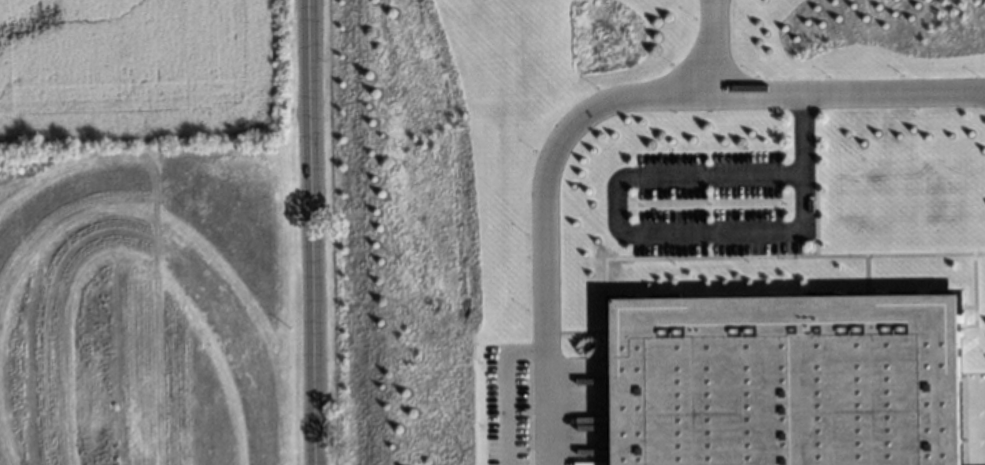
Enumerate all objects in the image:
road: (707, 46)
road: (601, 106)
road: (658, 231)
road: (307, 232)
building: (784, 381)

